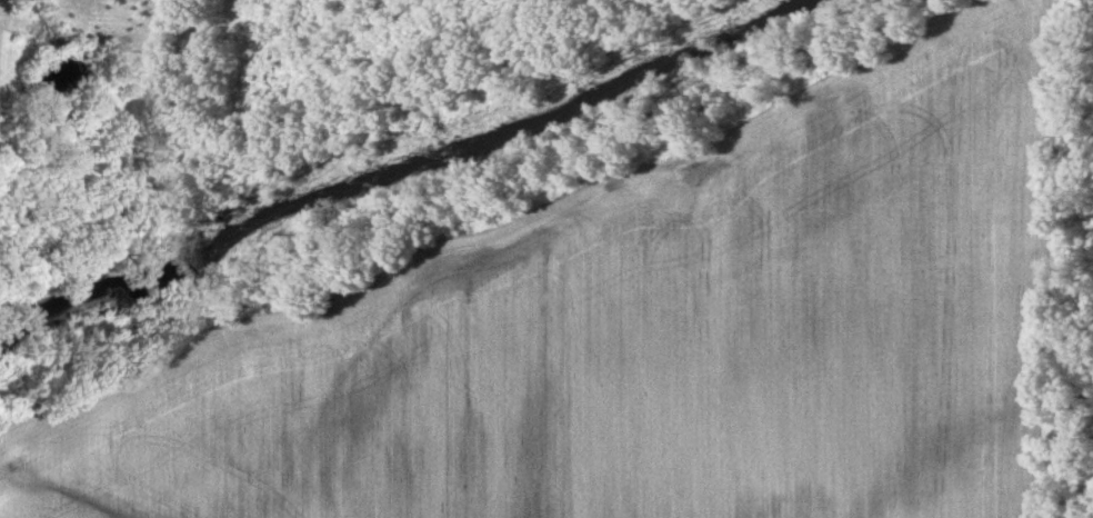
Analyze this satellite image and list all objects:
river: (395, 171)
crop: (640, 325)

